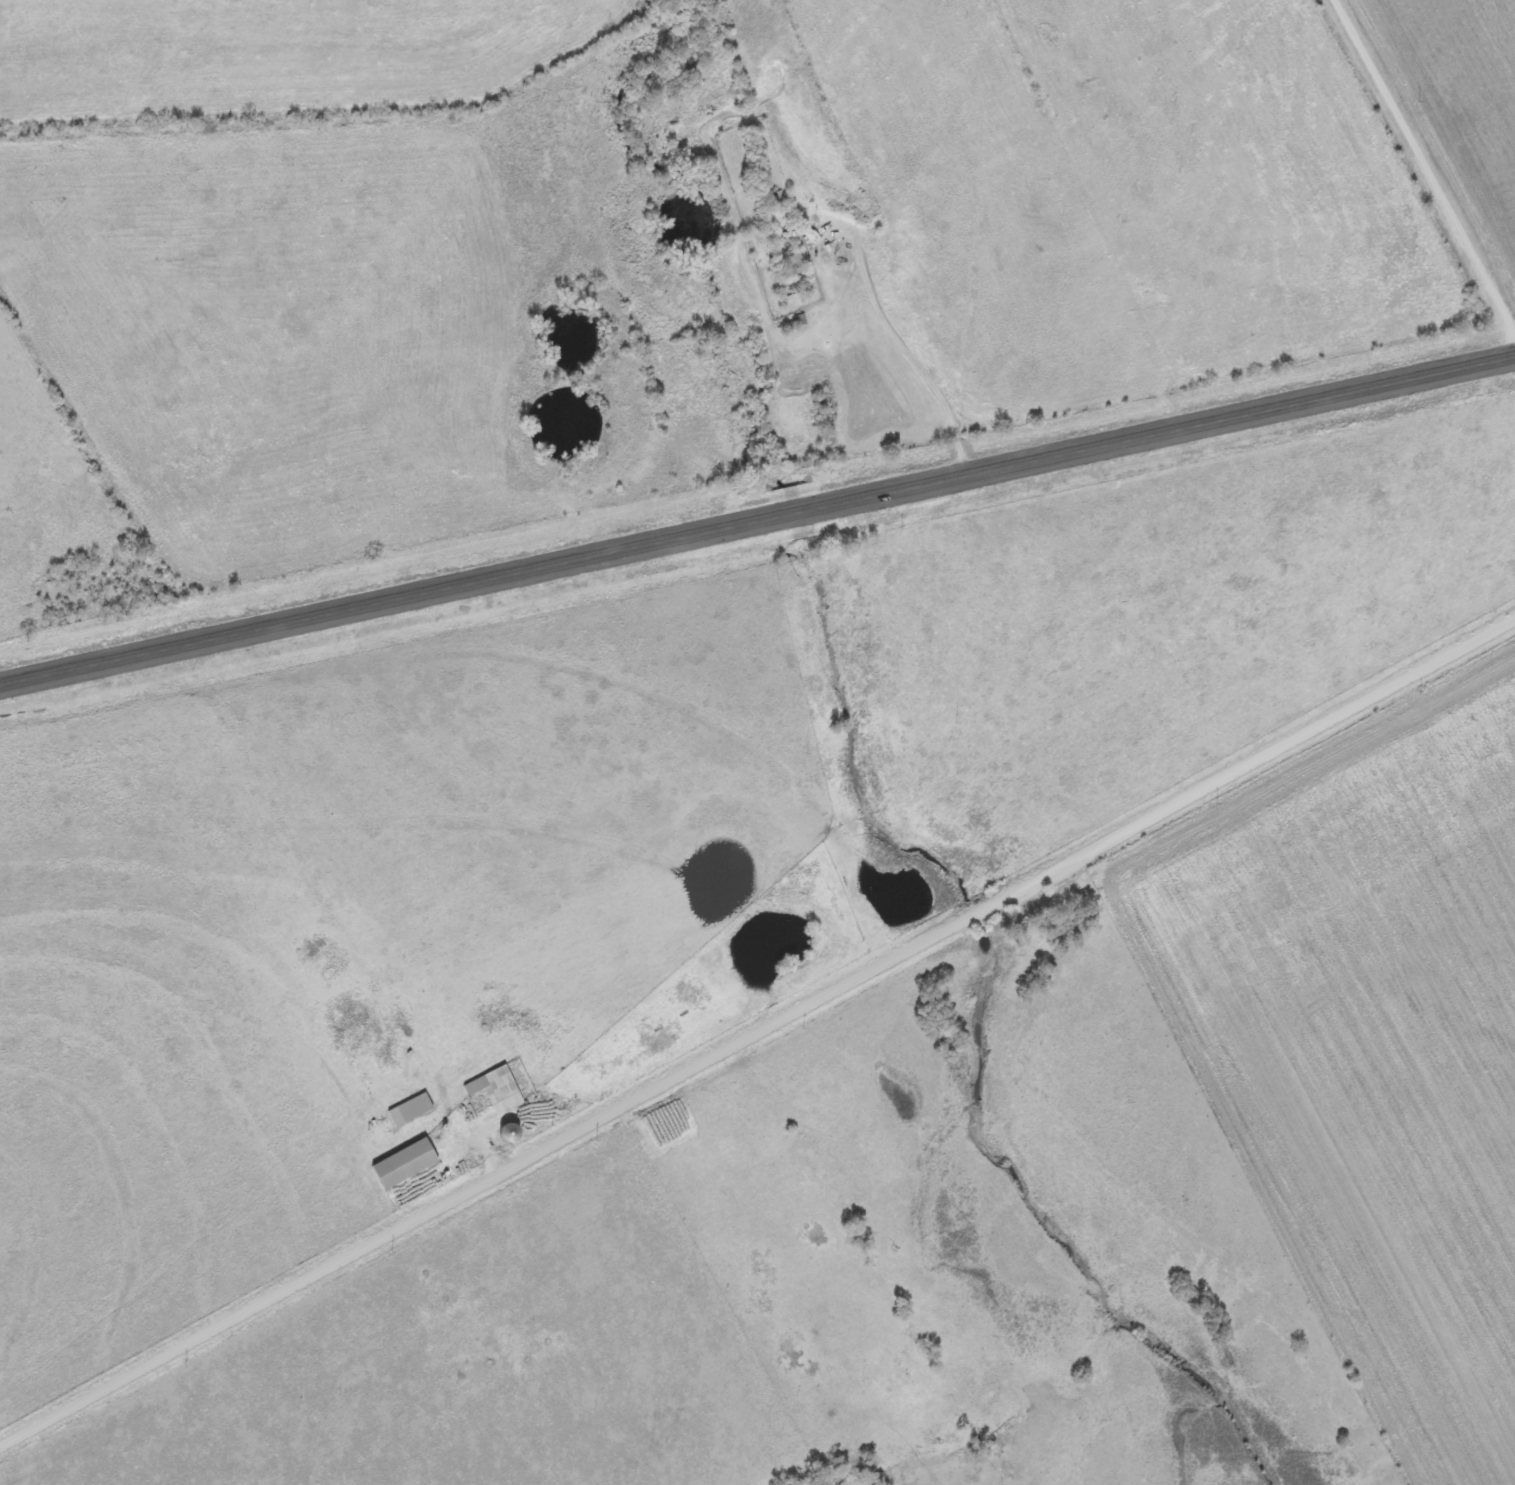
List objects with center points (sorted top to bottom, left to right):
building: (798, 262)
road: (757, 521)
road: (757, 1035)
building: (500, 1090)
building: (413, 1110)
building: (409, 1164)

